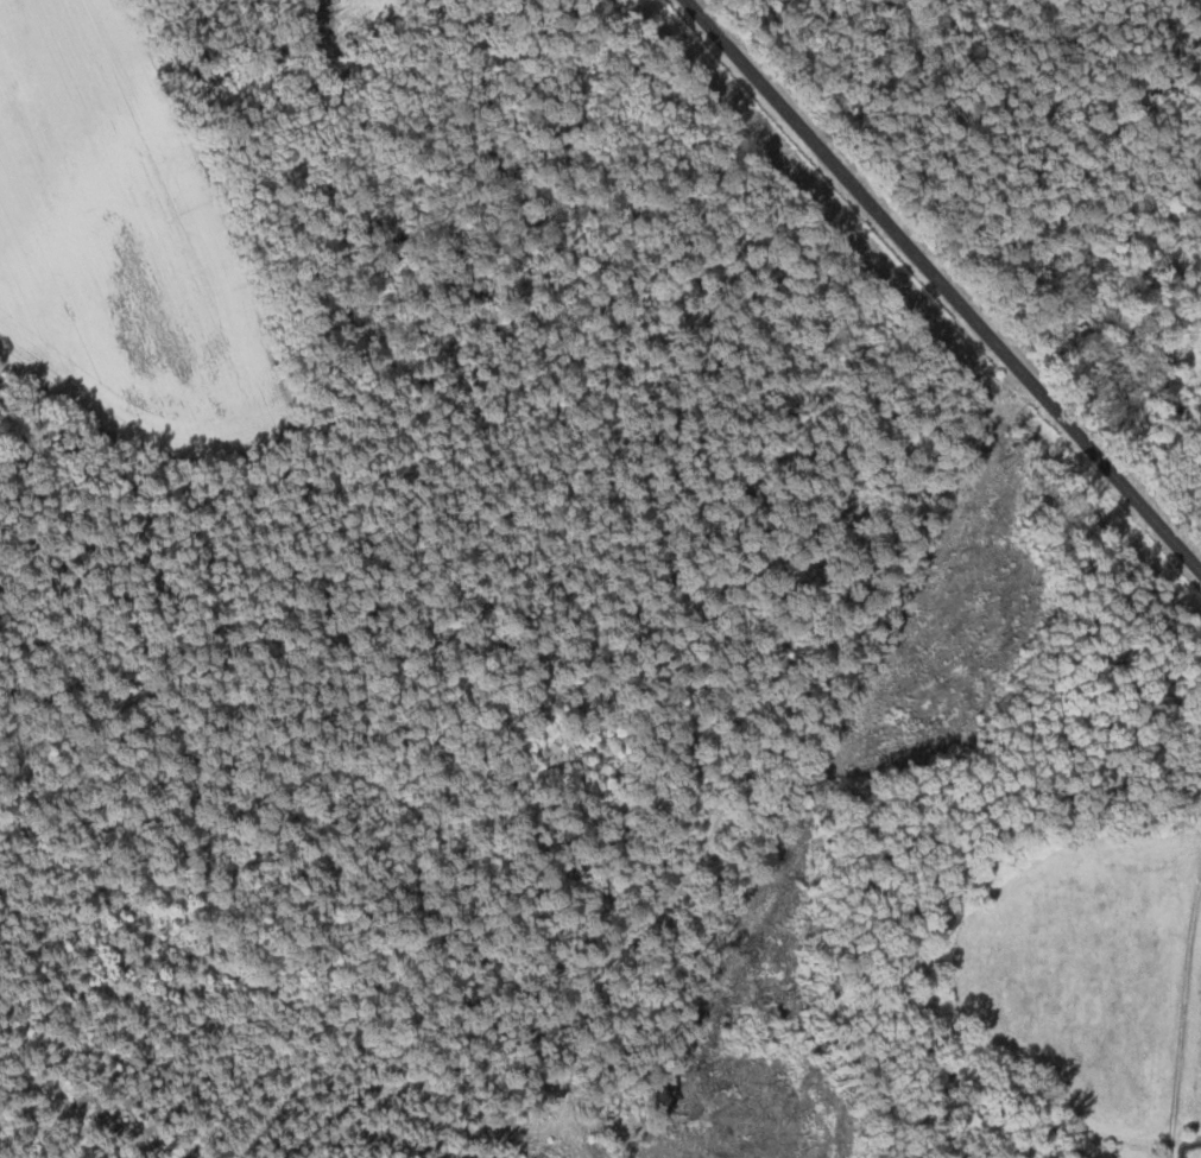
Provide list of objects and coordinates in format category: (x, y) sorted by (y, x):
road: (942, 284)

